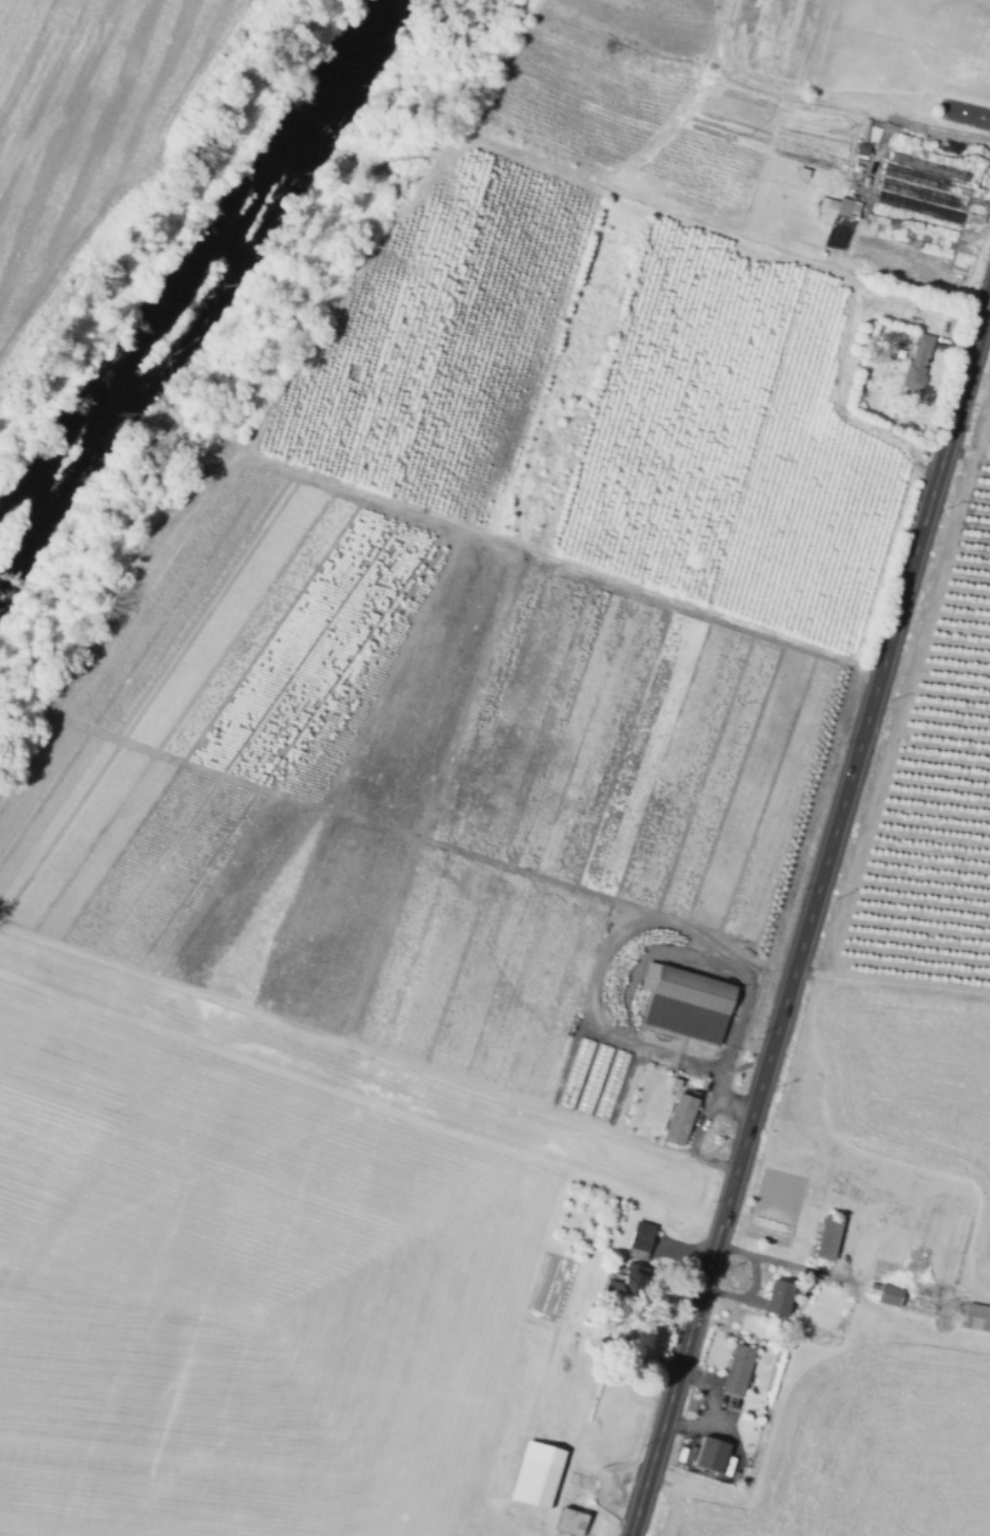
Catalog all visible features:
crop: (907, 59)
crop: (678, 106)
crop: (77, 116)
crop: (907, 197)
building: (837, 207)
river: (197, 271)
building: (918, 360)
crop: (414, 779)
crop: (933, 781)
road: (809, 913)
road: (891, 985)
building: (686, 1003)
crop: (897, 1087)
building: (683, 1122)
building: (830, 1237)
building: (640, 1239)
building: (635, 1278)
crop: (238, 1291)
building: (780, 1297)
building: (902, 1297)
building: (978, 1317)
building: (740, 1369)
crop: (865, 1452)
building: (712, 1455)
building: (535, 1483)
building: (577, 1497)

